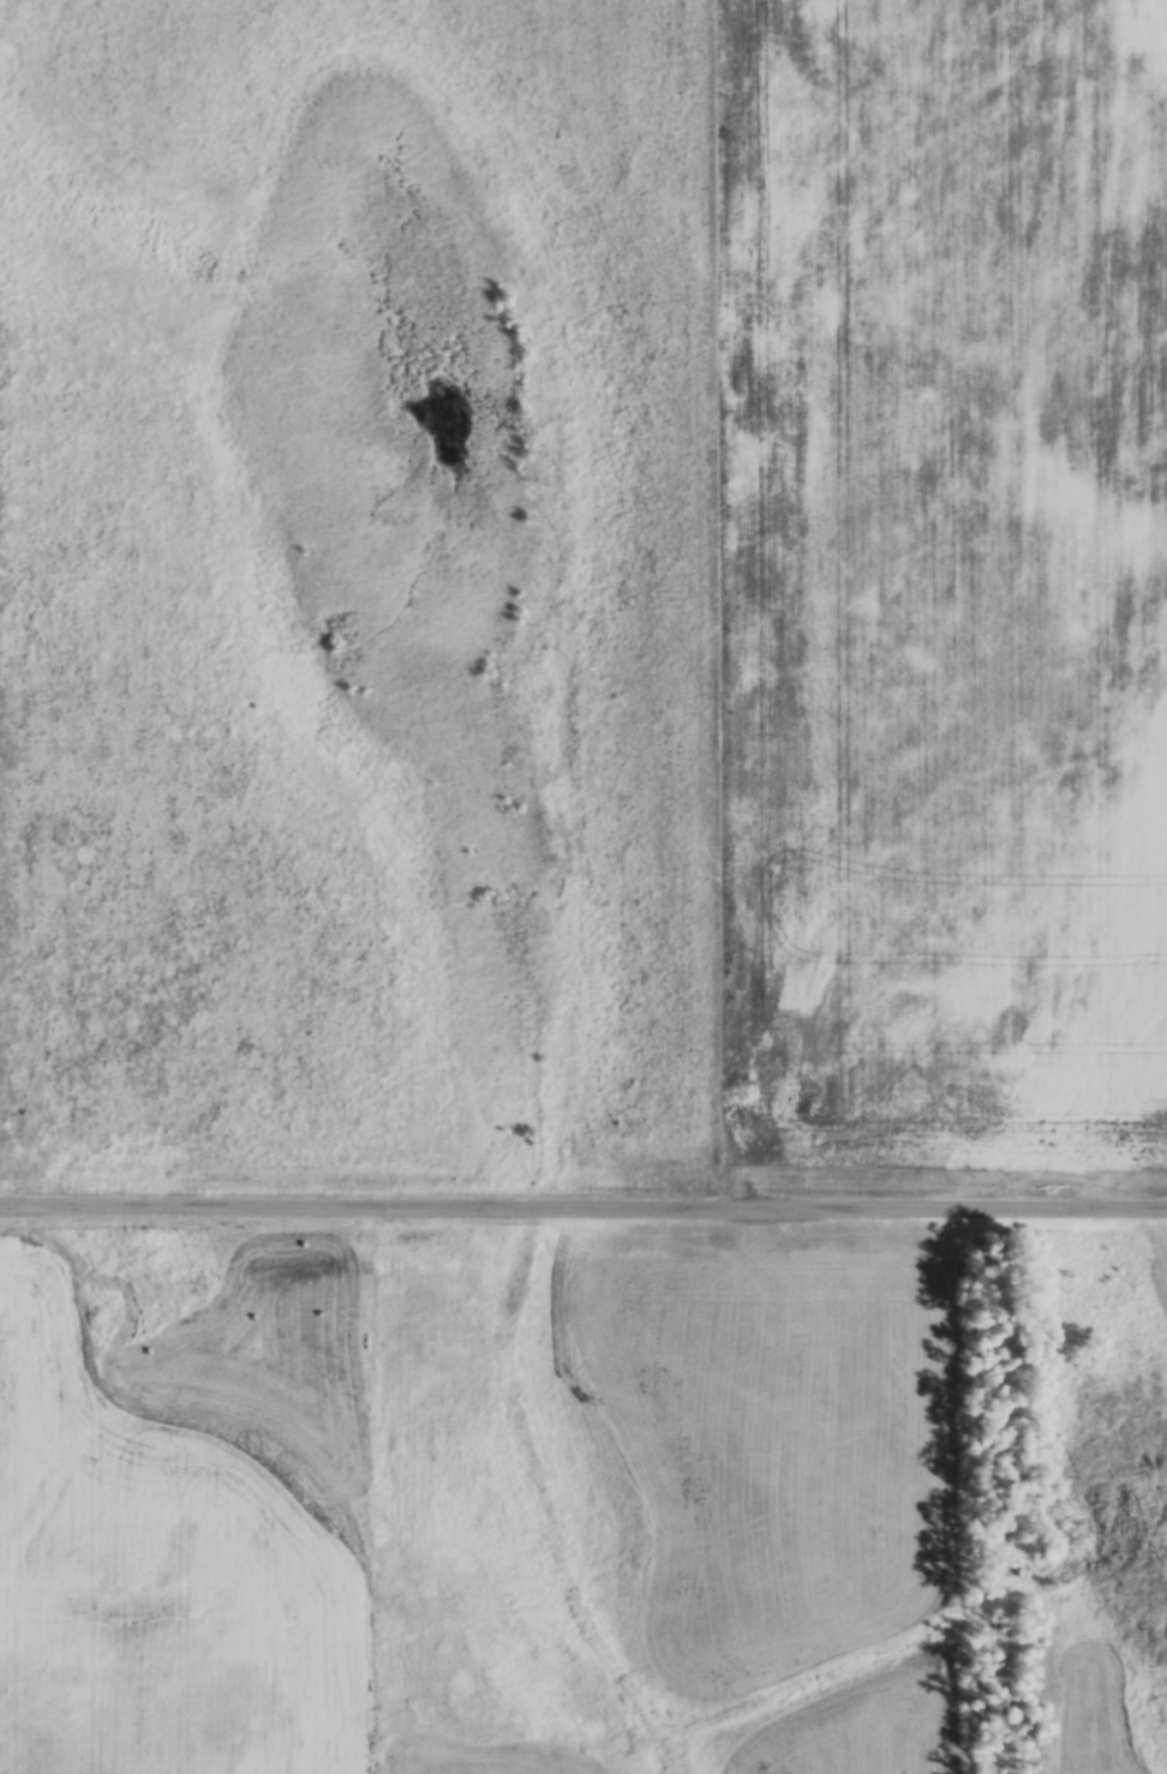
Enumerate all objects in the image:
road: (761, 1204)
road: (178, 1205)

